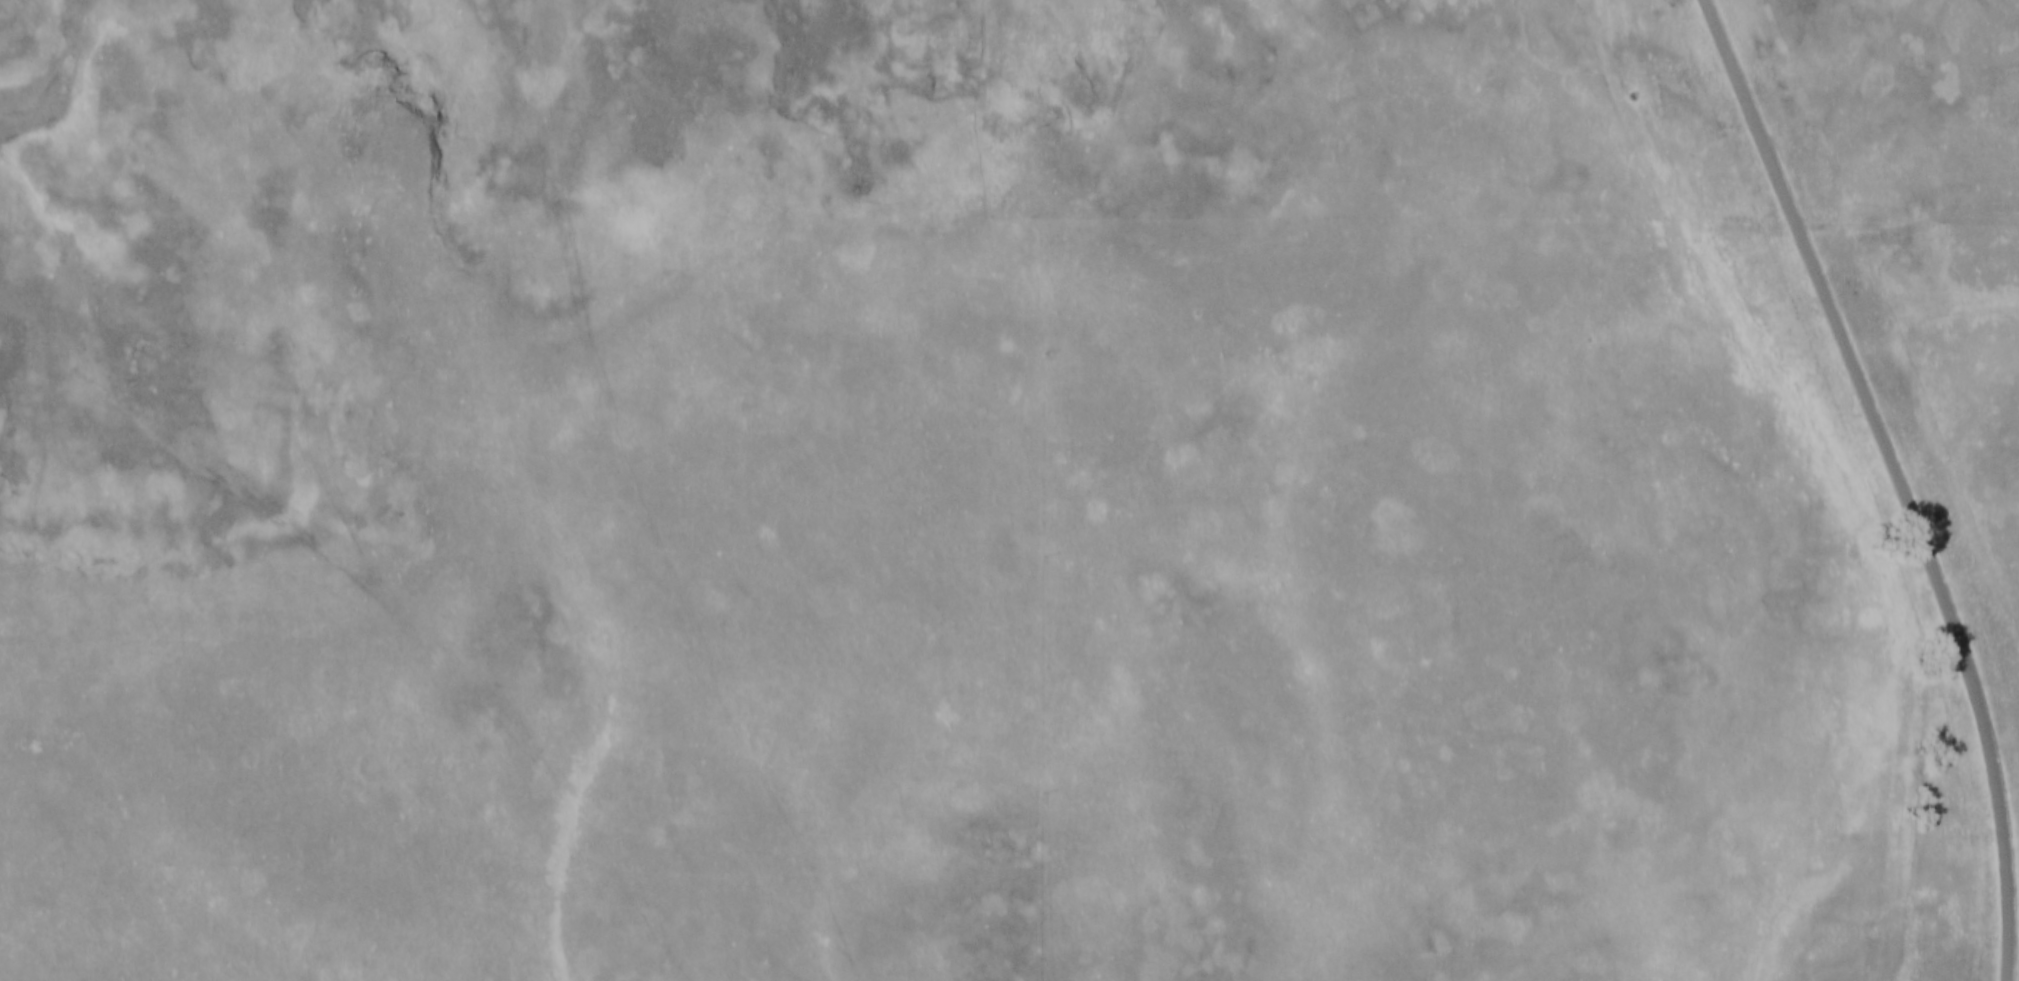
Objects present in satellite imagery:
road: (1753, 112)
road: (1908, 222)
road: (1942, 593)

